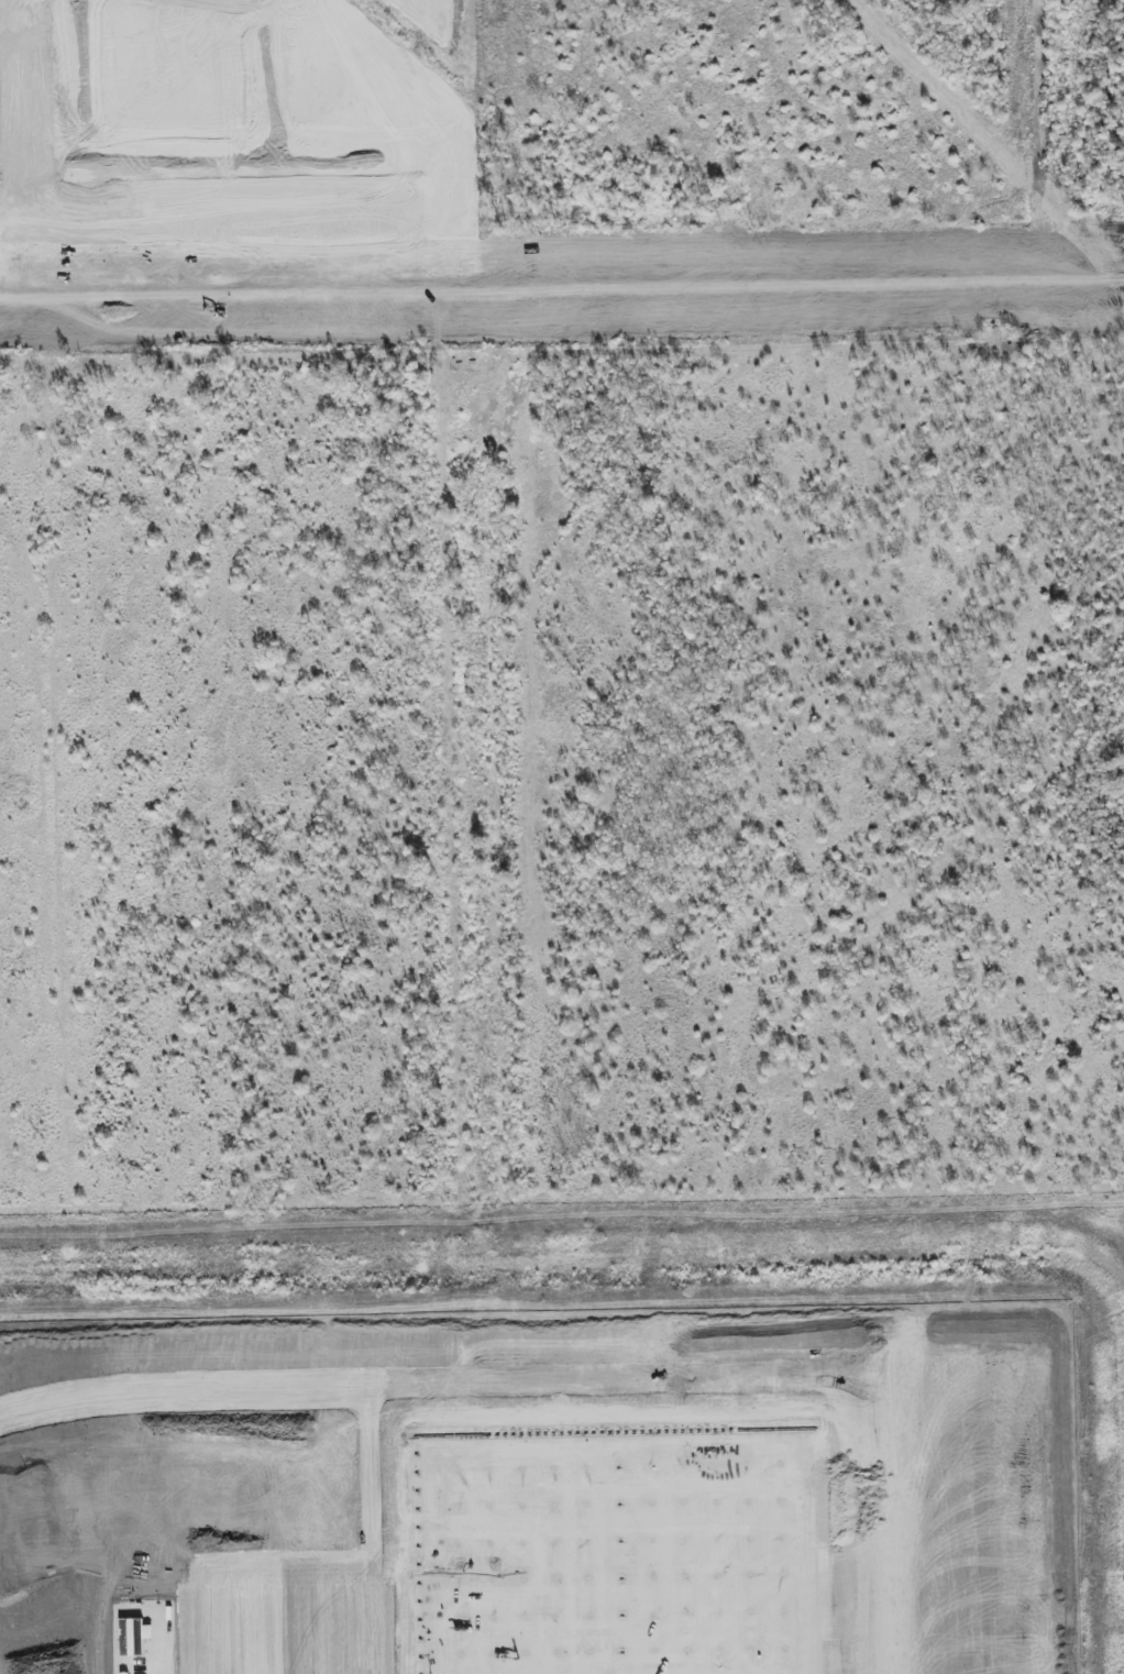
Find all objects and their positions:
road: (266, 75)
road: (190, 153)
road: (451, 163)
road: (561, 287)
road: (701, 304)
road: (197, 313)
road: (561, 323)
road: (591, 1387)
road: (1006, 1472)
road: (367, 1474)
road: (274, 1560)
road: (371, 1616)
road: (242, 1617)
road: (282, 1617)
road: (326, 1617)
road: (196, 1630)

